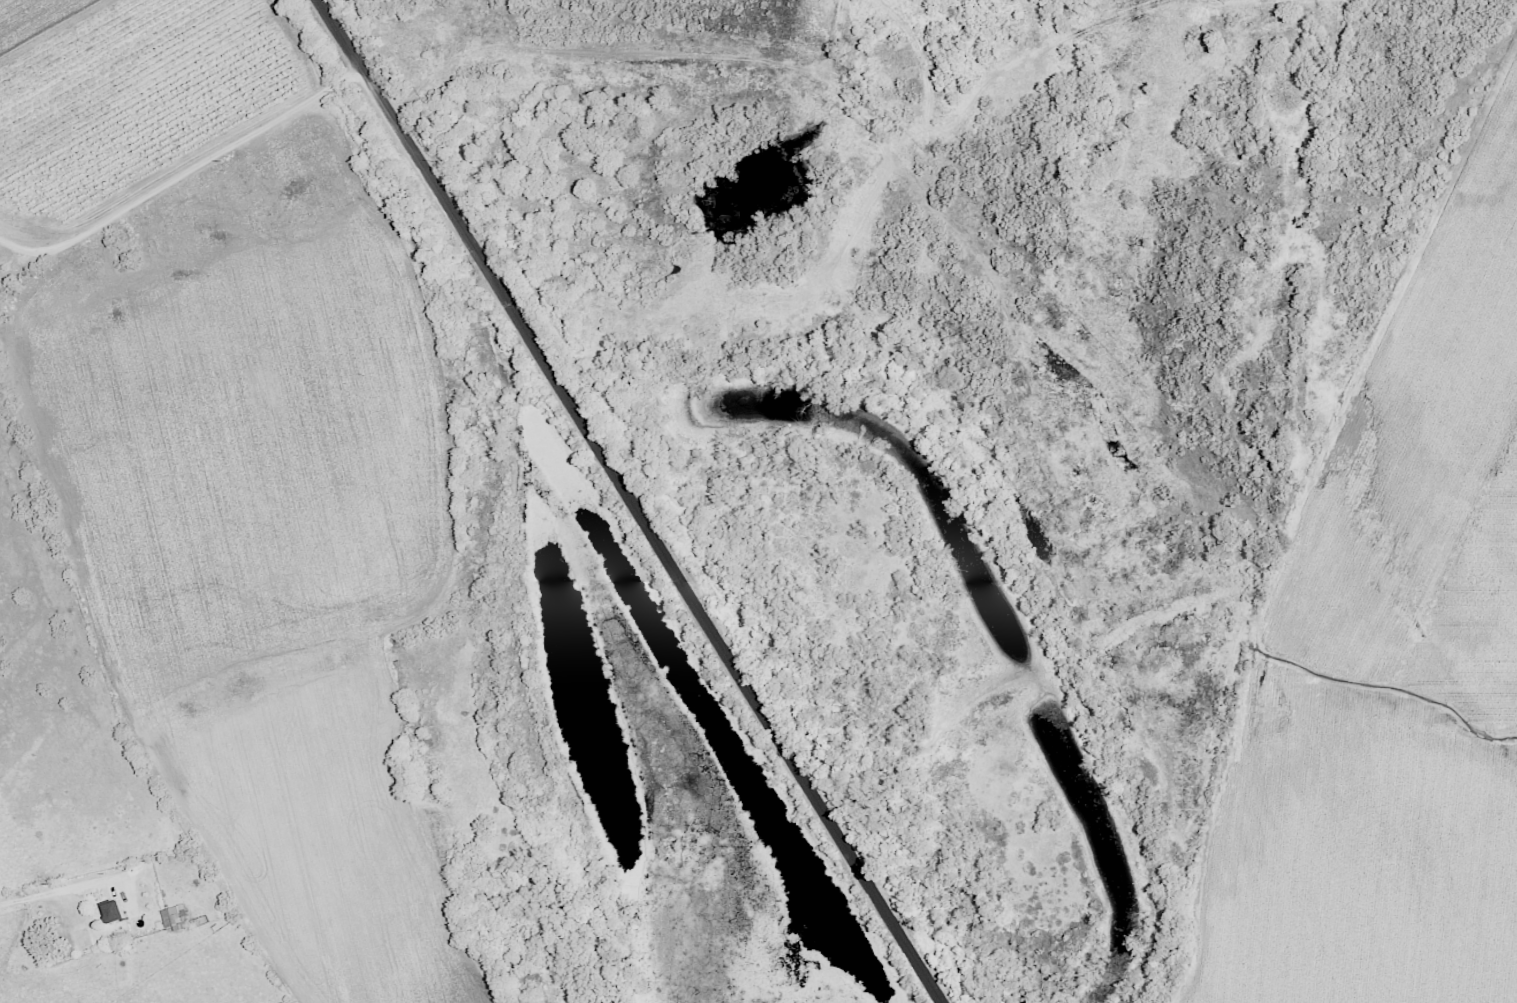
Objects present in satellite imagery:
road: (185, 177)
road: (629, 501)
road: (61, 895)
building: (110, 910)

